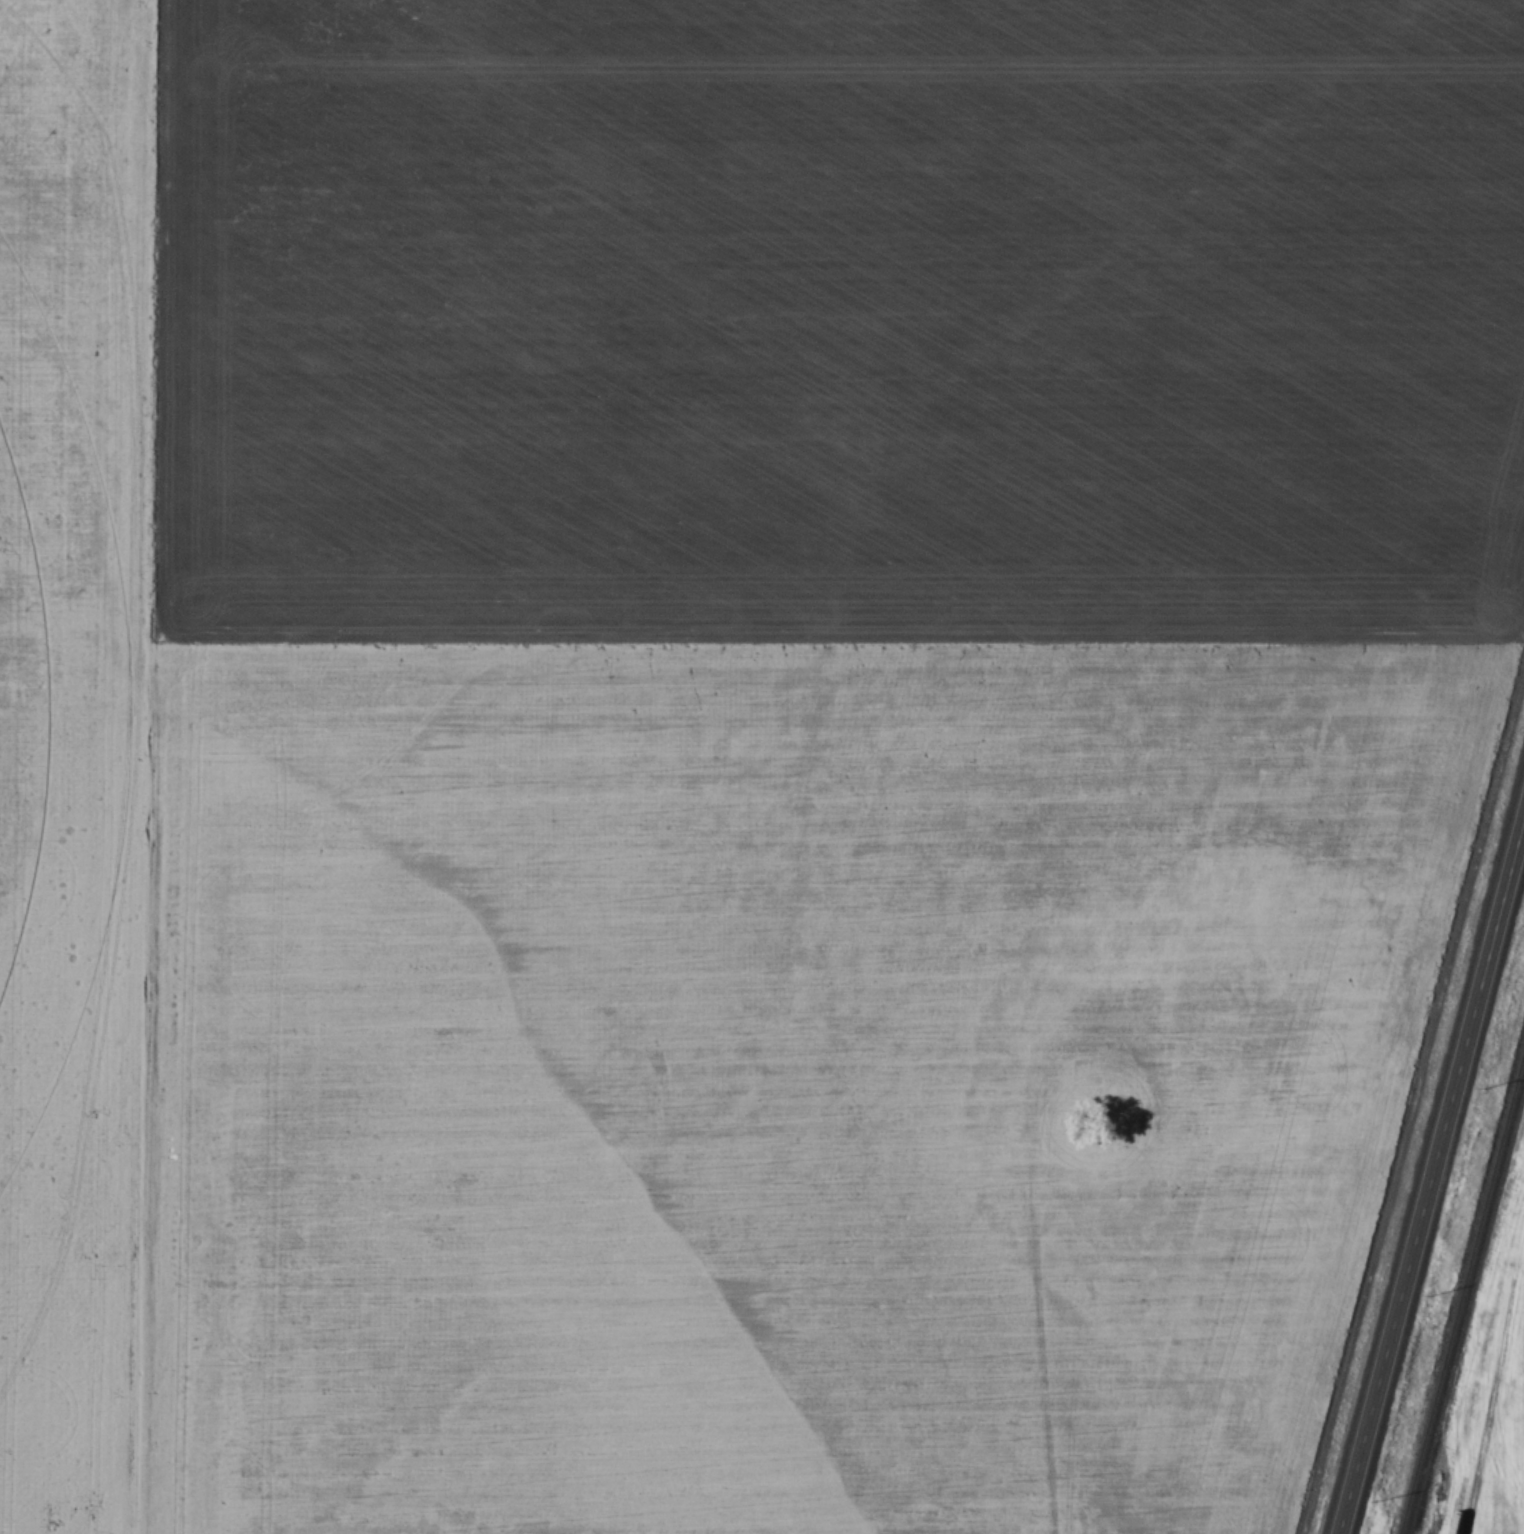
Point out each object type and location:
road: (1432, 1179)
railway: (1463, 1296)

